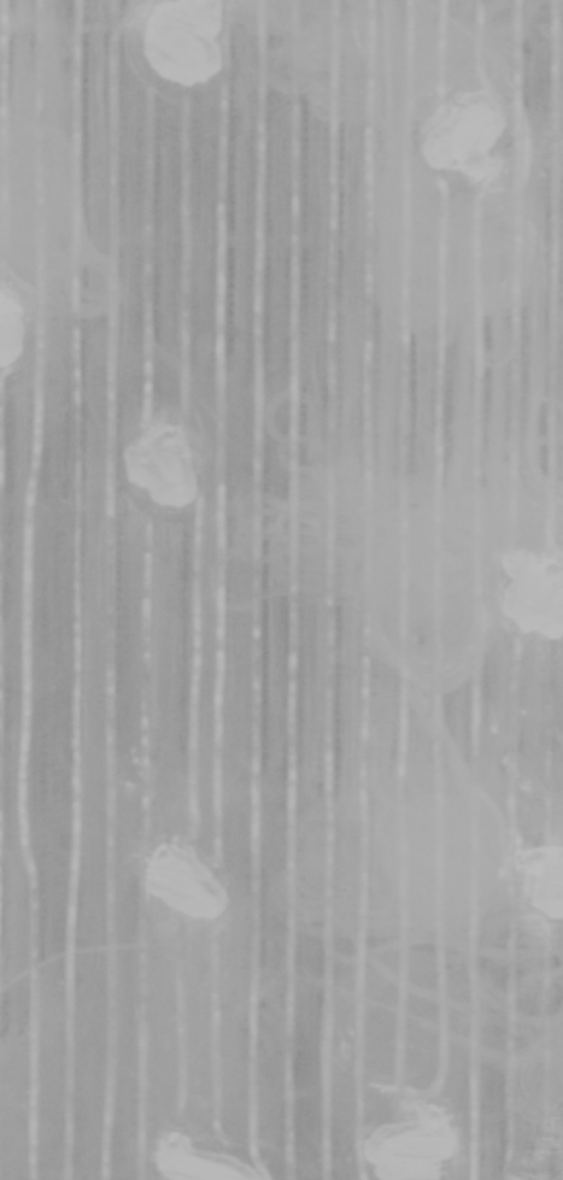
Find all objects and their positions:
road: (281, 1160)

